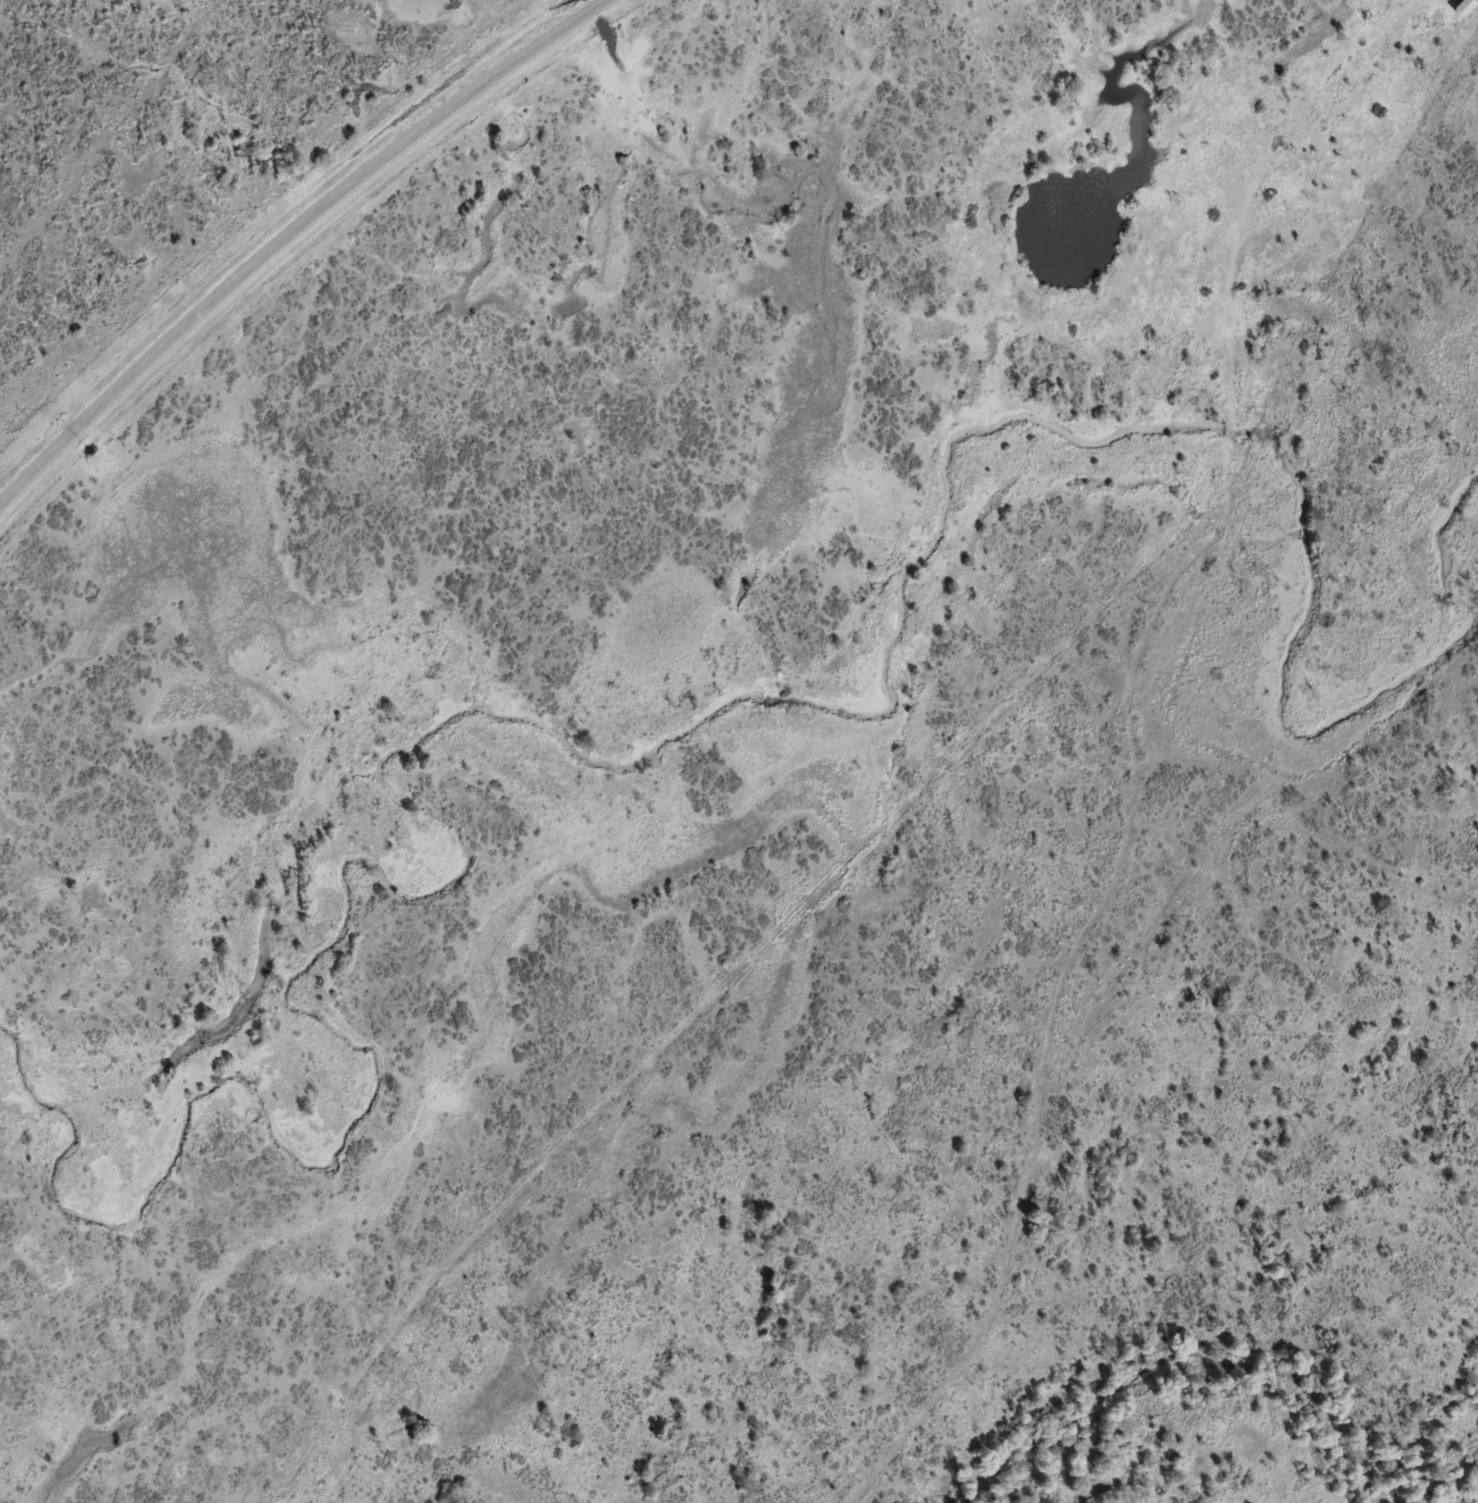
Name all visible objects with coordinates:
building: (1463, 7)
road: (291, 232)
road: (1113, 744)

